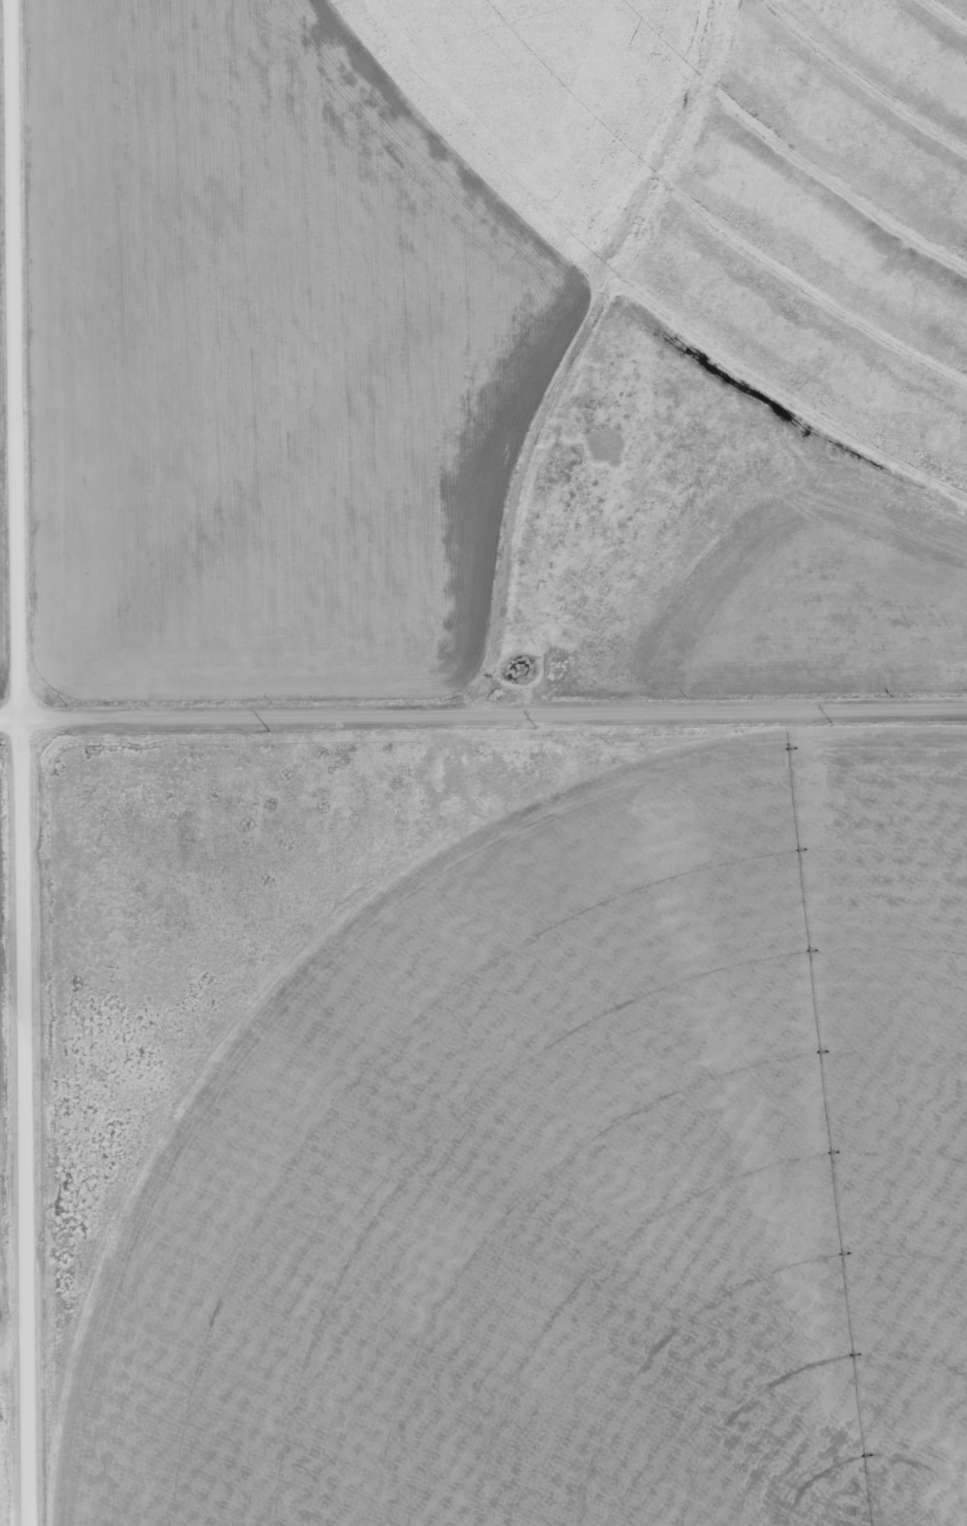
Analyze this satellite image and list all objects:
road: (483, 710)
road: (23, 762)

